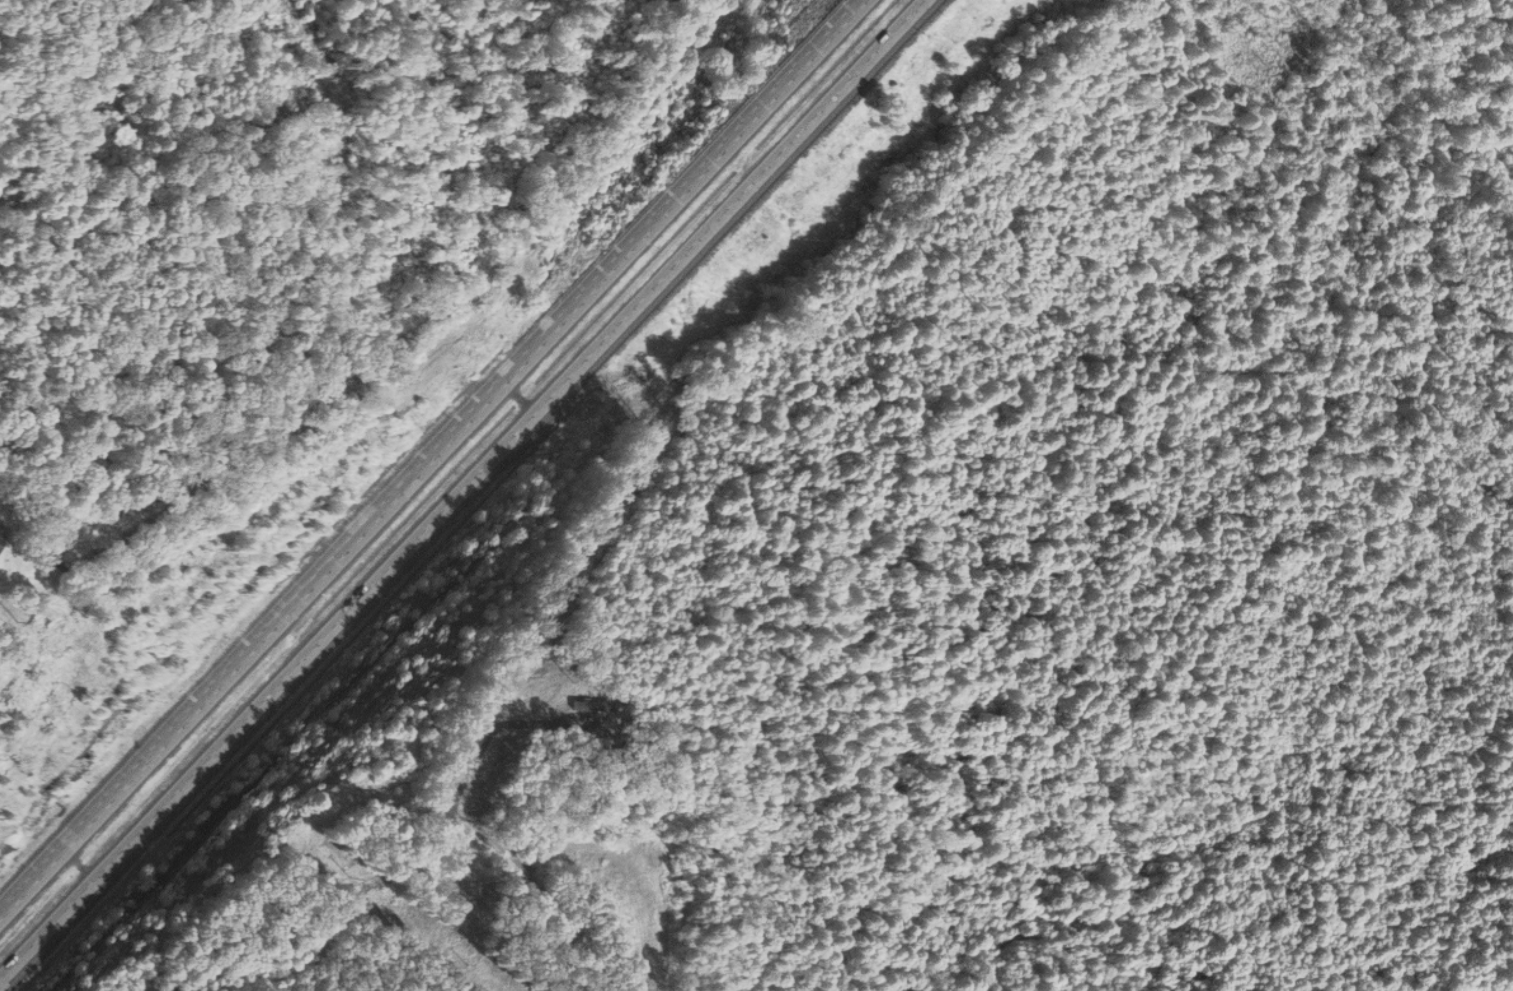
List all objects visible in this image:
road: (426, 457)
road: (462, 490)
building: (5, 543)
road: (14, 579)
road: (482, 829)

